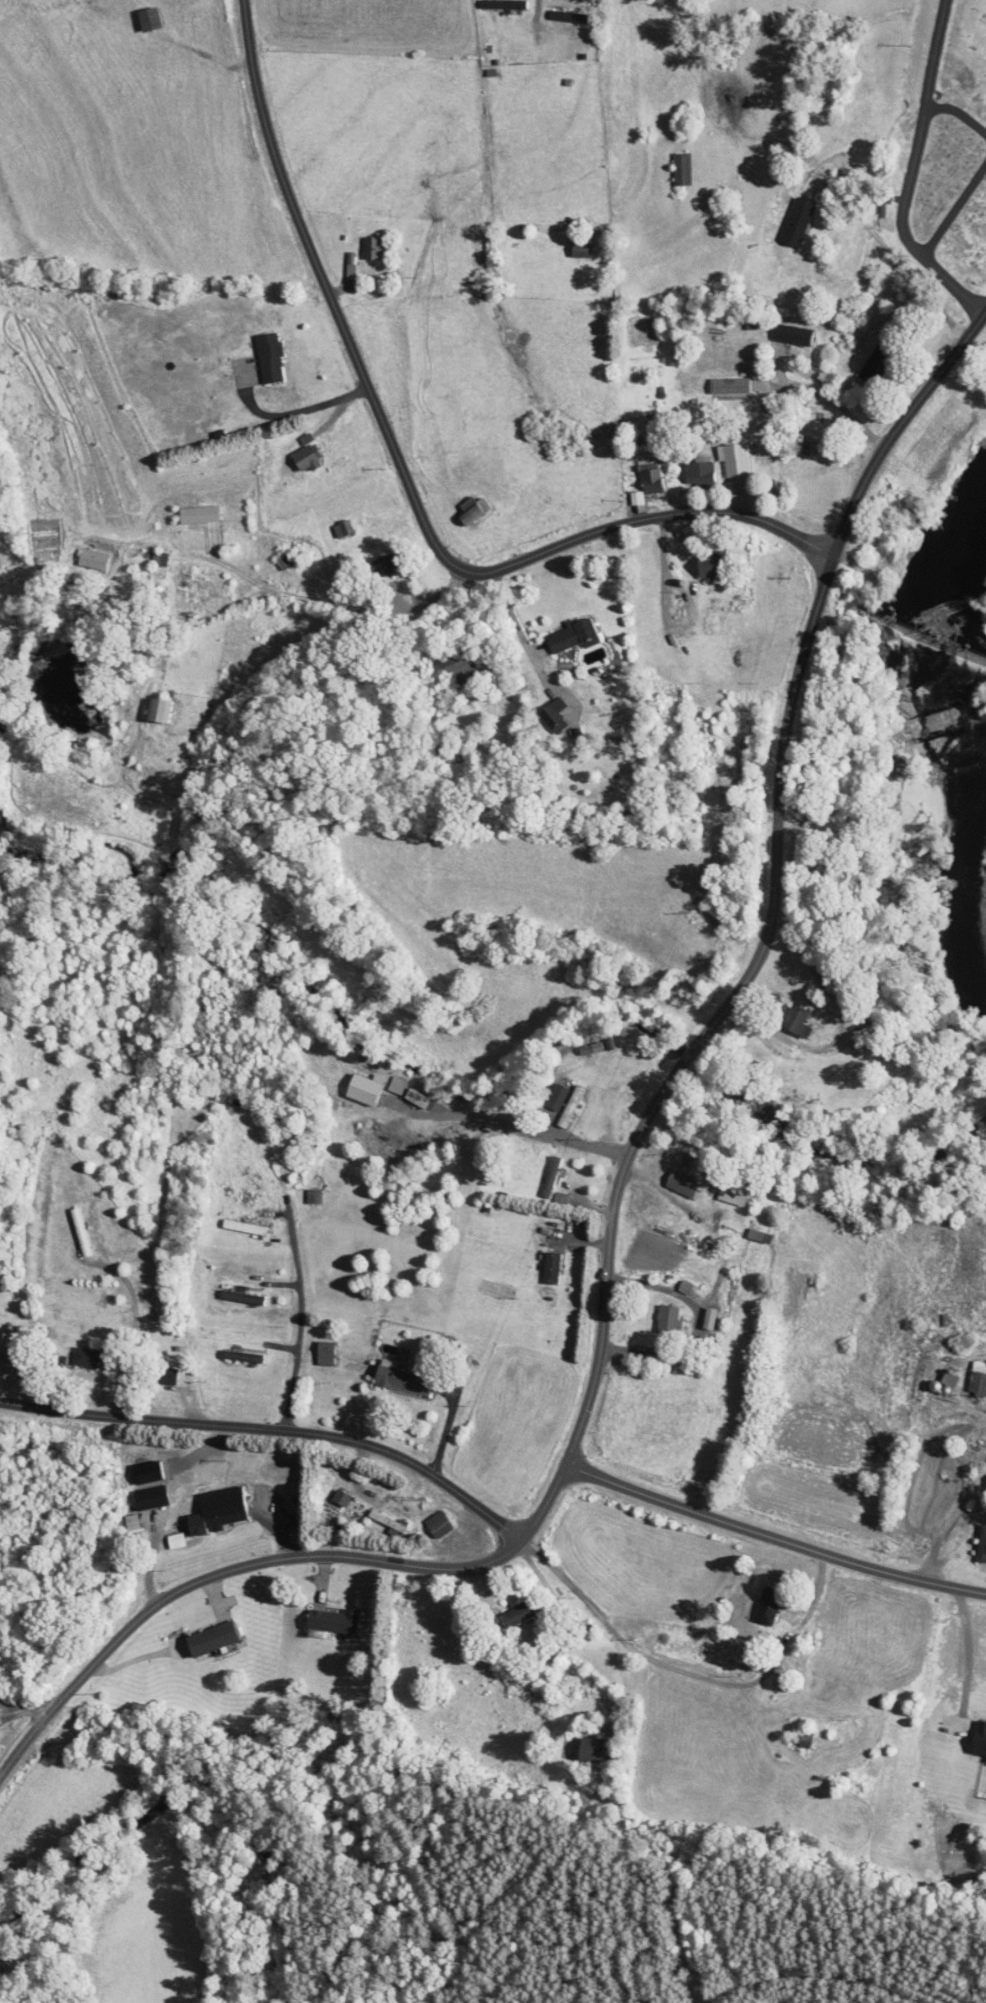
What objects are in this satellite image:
building: (498, 4)
road: (536, 13)
building: (567, 17)
building: (144, 19)
building: (679, 169)
road: (909, 170)
building: (880, 205)
building: (794, 222)
building: (372, 248)
building: (577, 250)
road: (898, 265)
building: (789, 335)
building: (267, 359)
building: (870, 367)
building: (727, 386)
building: (303, 459)
building: (731, 460)
building: (696, 474)
road: (404, 476)
building: (647, 477)
building: (471, 512)
building: (188, 516)
building: (340, 529)
building: (282, 561)
building: (383, 563)
building: (705, 565)
road: (148, 579)
building: (186, 589)
river: (973, 592)
road: (342, 608)
building: (569, 636)
dam: (937, 639)
building: (456, 669)
building: (160, 712)
building: (550, 713)
building: (446, 749)
river: (958, 846)
building: (792, 1022)
building: (862, 1027)
building: (567, 1108)
road: (513, 1126)
building: (547, 1178)
building: (678, 1184)
building: (729, 1194)
road: (616, 1195)
building: (310, 1198)
building: (241, 1229)
building: (78, 1233)
building: (547, 1268)
road: (715, 1281)
road: (655, 1286)
building: (238, 1298)
building: (664, 1317)
building: (320, 1353)
building: (237, 1356)
building: (80, 1357)
road: (276, 1372)
building: (161, 1375)
building: (975, 1377)
building: (396, 1379)
building: (943, 1382)
road: (960, 1382)
road: (274, 1430)
building: (147, 1497)
road: (982, 1510)
building: (220, 1514)
building: (432, 1521)
road: (946, 1523)
road: (968, 1535)
road: (771, 1539)
building: (979, 1544)
building: (762, 1609)
building: (517, 1613)
building: (327, 1621)
building: (205, 1638)
road: (968, 1655)
road: (688, 1671)
building: (429, 1694)

